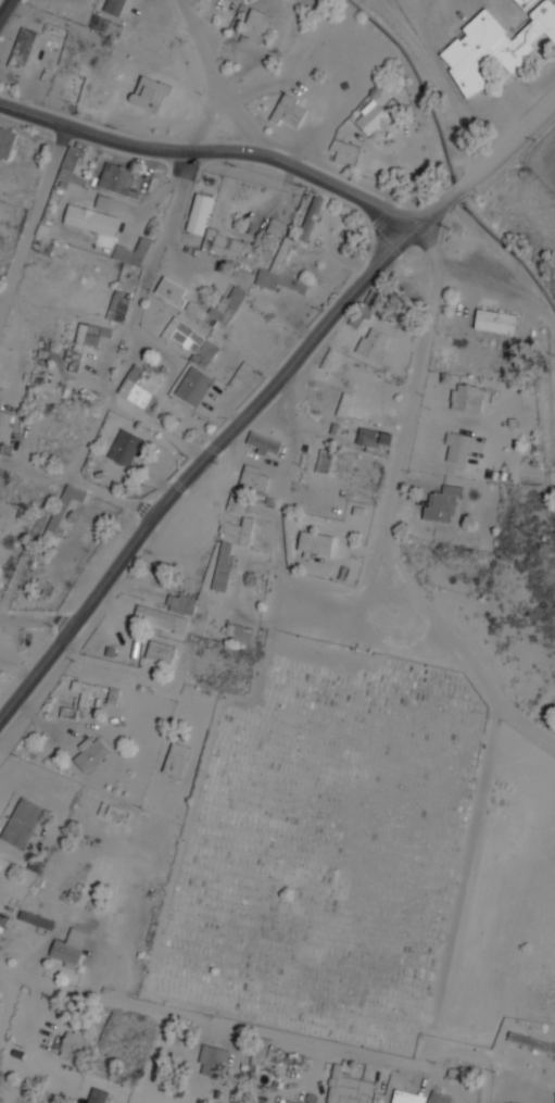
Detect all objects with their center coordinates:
building: (524, 3)
building: (114, 7)
road: (4, 8)
building: (100, 24)
building: (256, 25)
building: (494, 45)
building: (22, 49)
road: (217, 79)
building: (149, 93)
building: (288, 111)
road: (33, 115)
building: (371, 117)
road: (510, 140)
building: (5, 142)
road: (245, 151)
building: (345, 152)
building: (73, 164)
building: (115, 178)
road: (454, 191)
building: (103, 202)
building: (199, 213)
road: (33, 216)
building: (310, 218)
building: (90, 220)
building: (276, 226)
building: (222, 245)
building: (133, 252)
building: (279, 272)
building: (169, 290)
building: (113, 310)
building: (200, 314)
road: (134, 316)
building: (358, 316)
building: (494, 321)
building: (191, 341)
building: (84, 342)
building: (371, 344)
building: (193, 386)
building: (140, 387)
building: (466, 398)
building: (349, 408)
building: (4, 425)
building: (371, 439)
building: (264, 443)
building: (458, 447)
building: (124, 448)
road: (211, 450)
road: (402, 454)
road: (78, 482)
building: (247, 486)
building: (441, 503)
building: (63, 514)
building: (200, 524)
building: (315, 542)
building: (229, 549)
road: (36, 615)
building: (160, 618)
building: (159, 652)
building: (90, 753)
building: (175, 760)
building: (22, 824)
park: (319, 844)
building: (68, 948)
road: (219, 1025)
building: (74, 1046)
building: (406, 1096)
building: (293, 1102)

